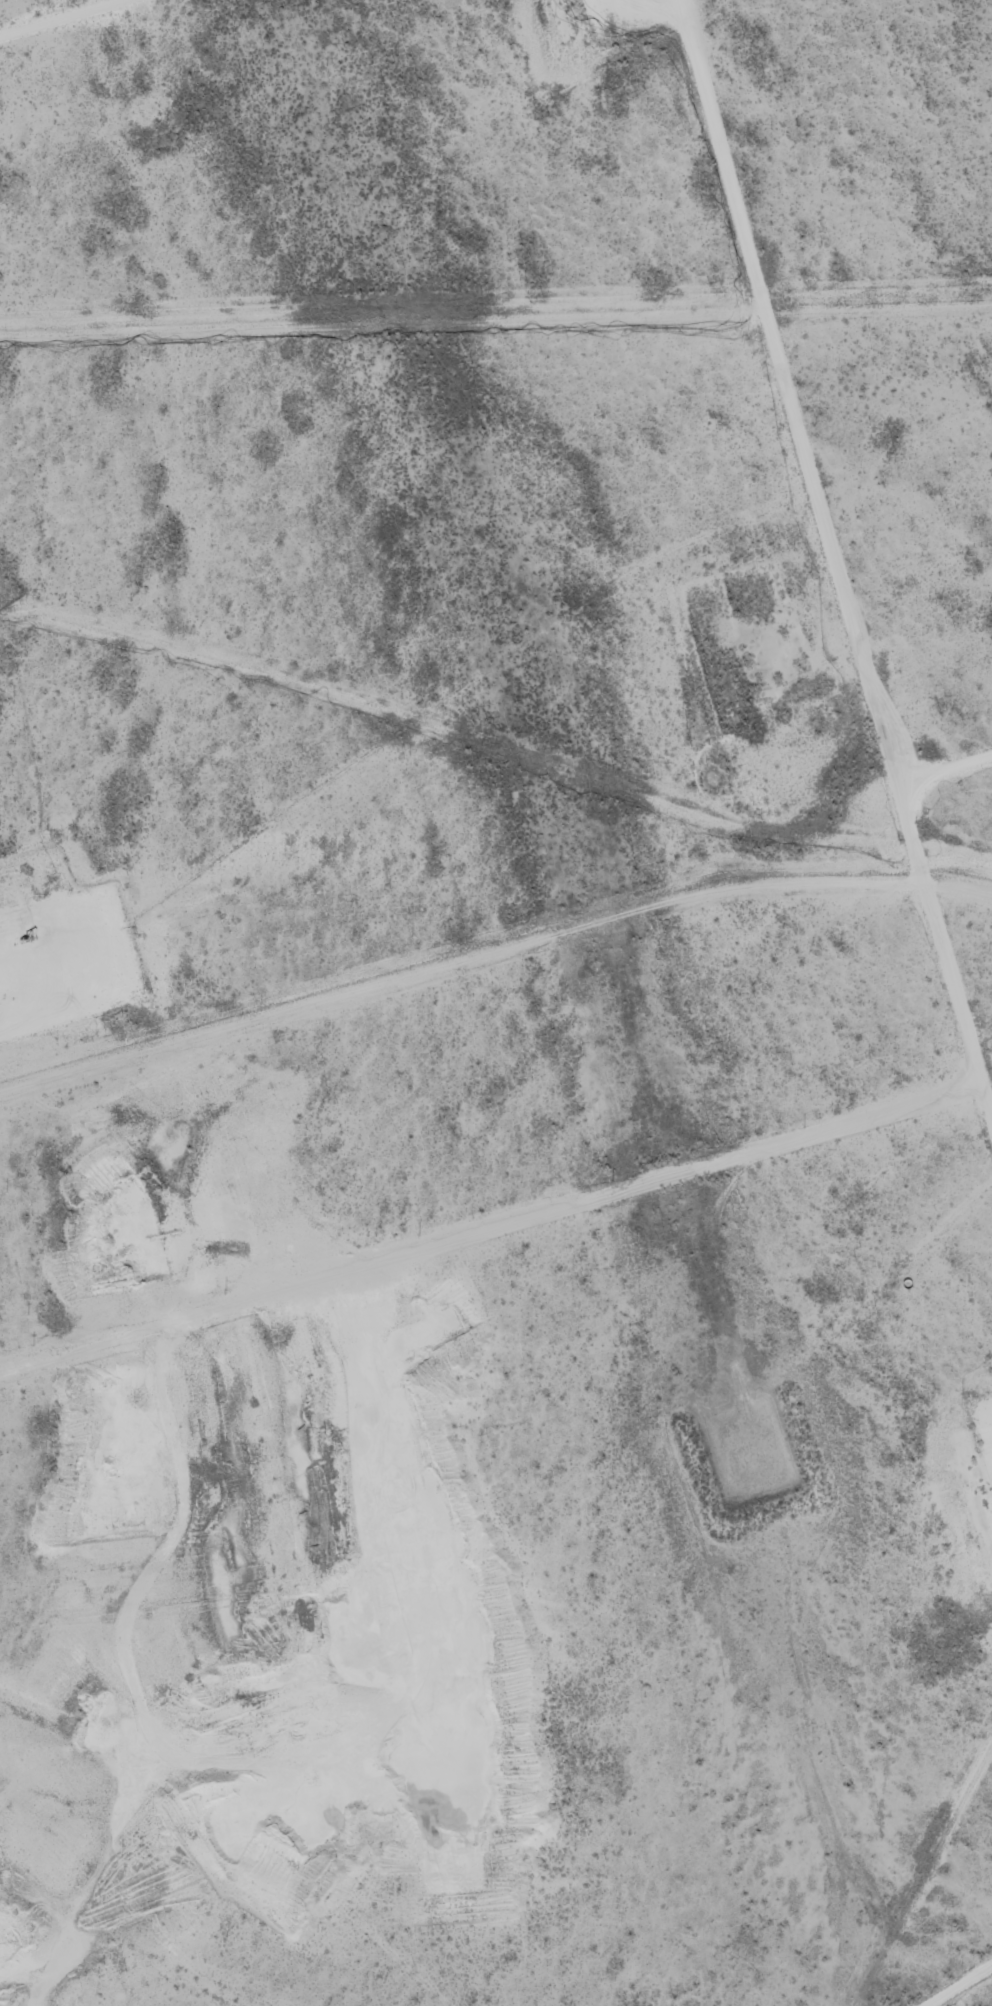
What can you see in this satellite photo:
road: (79, 22)
road: (837, 568)
road: (69, 1005)
road: (956, 1984)

